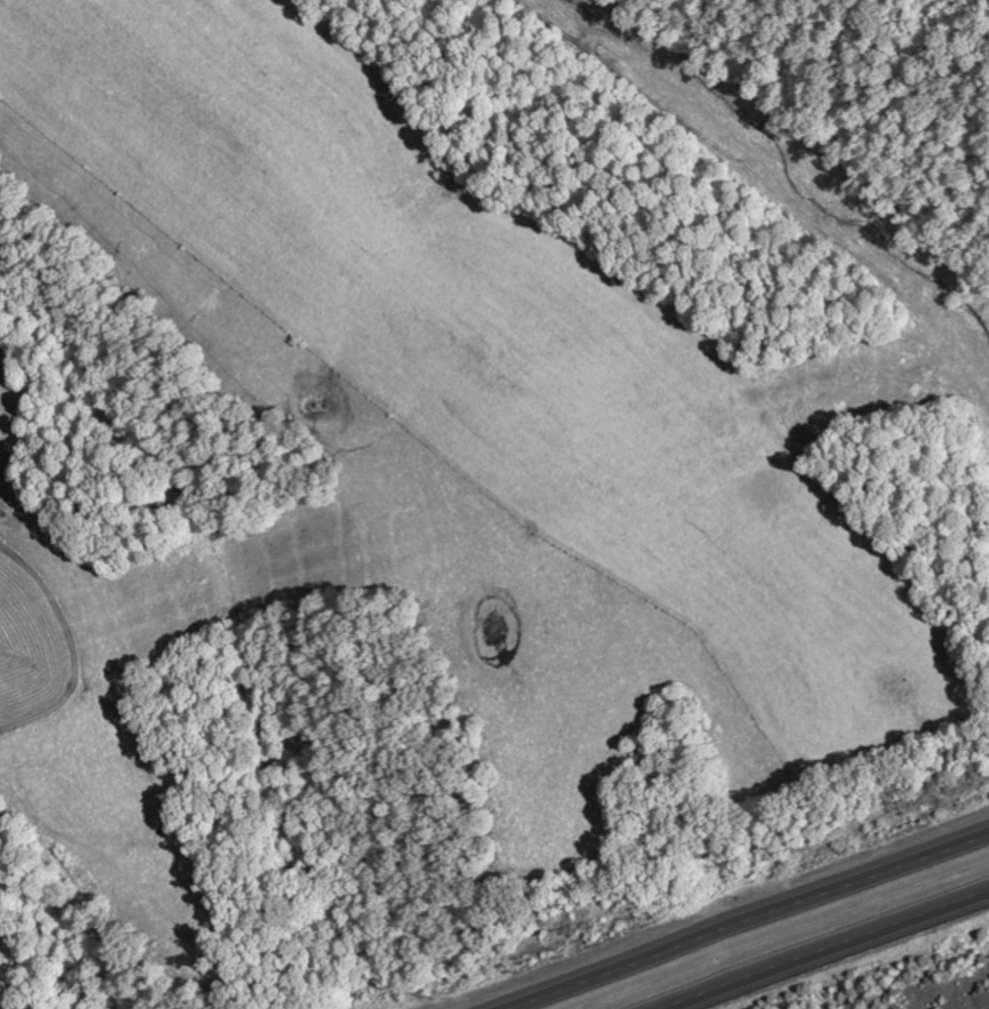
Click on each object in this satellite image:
road: (741, 918)
road: (831, 952)

